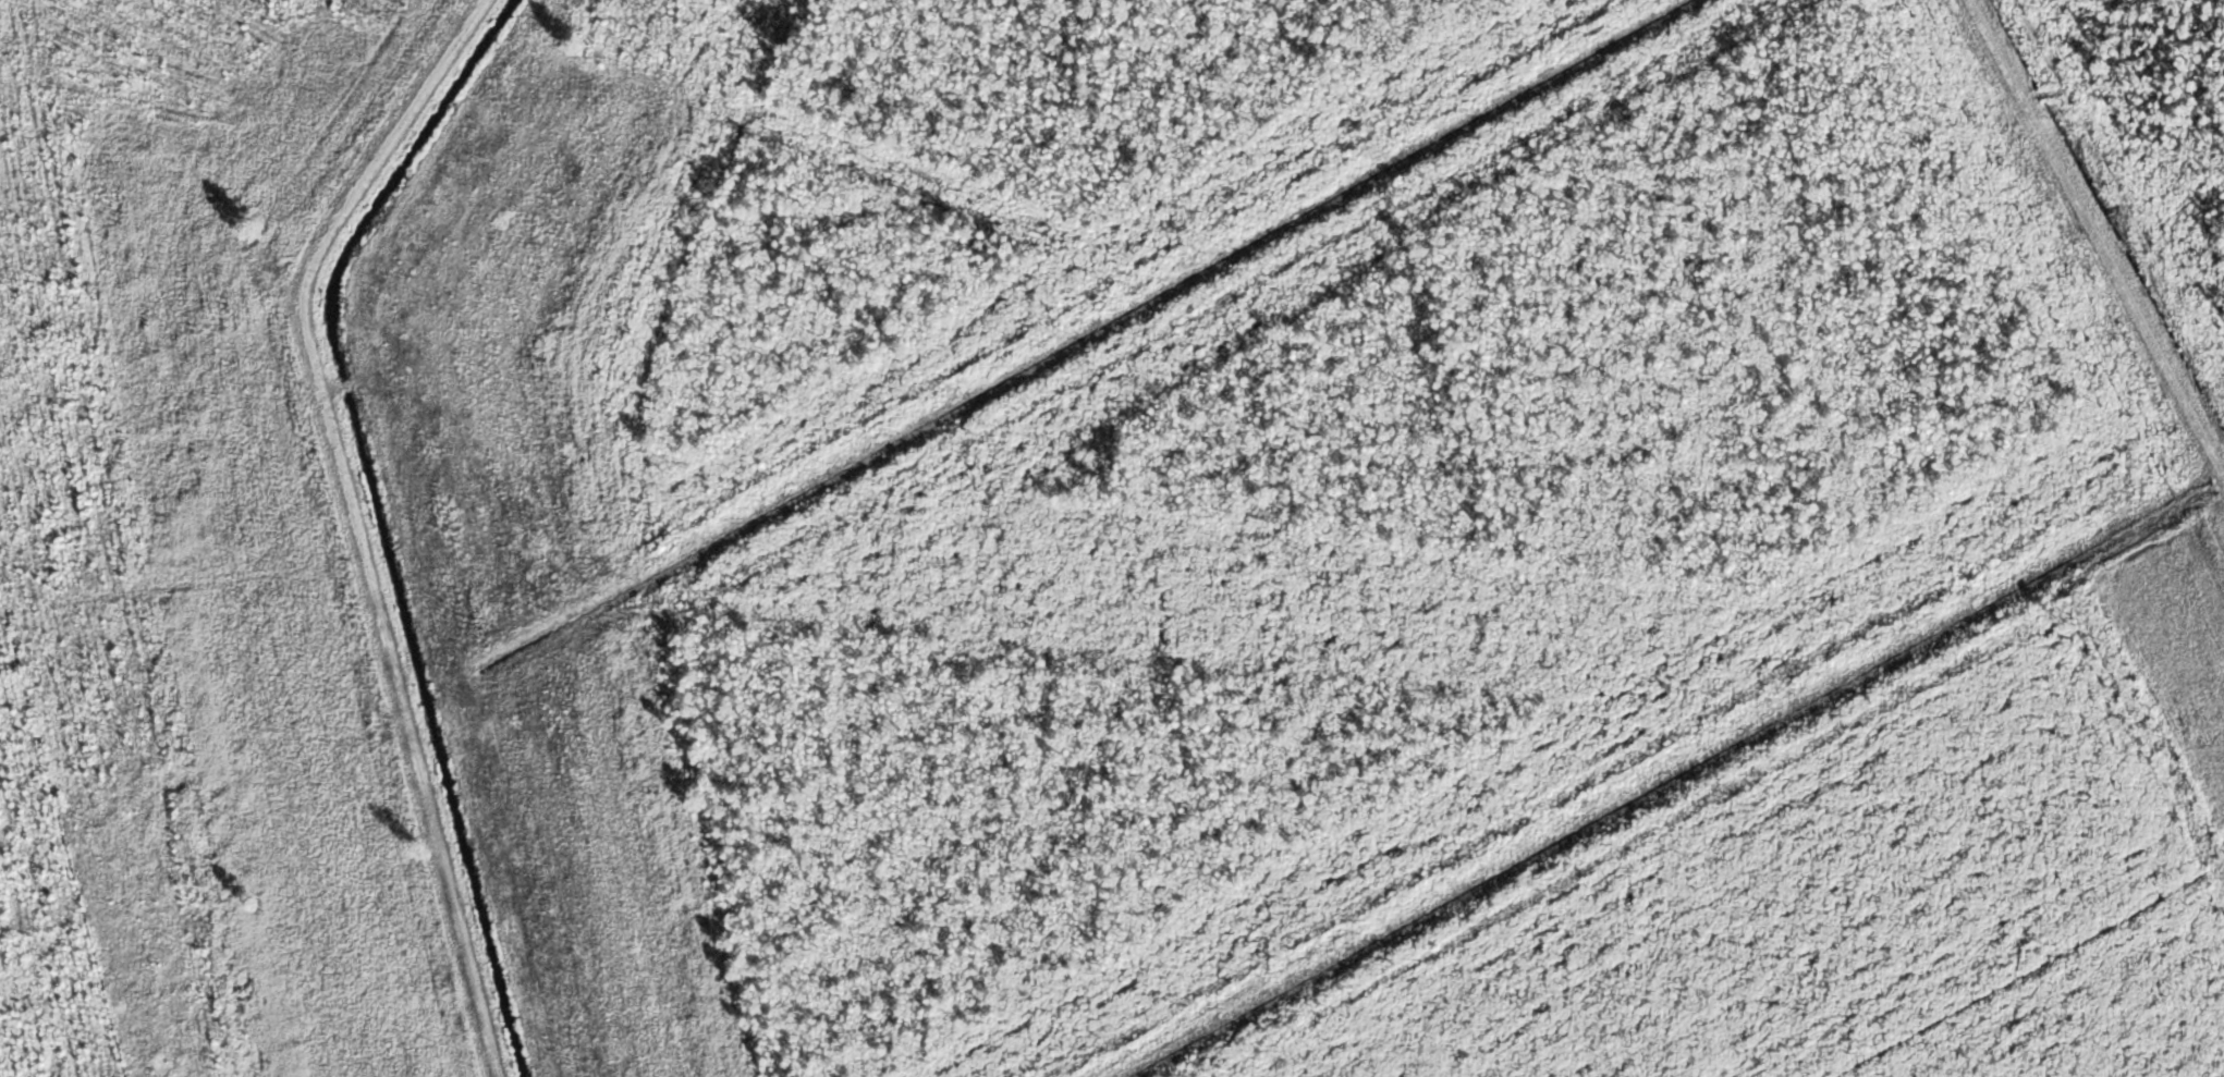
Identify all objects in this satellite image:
road: (305, 510)
road: (2221, 736)

